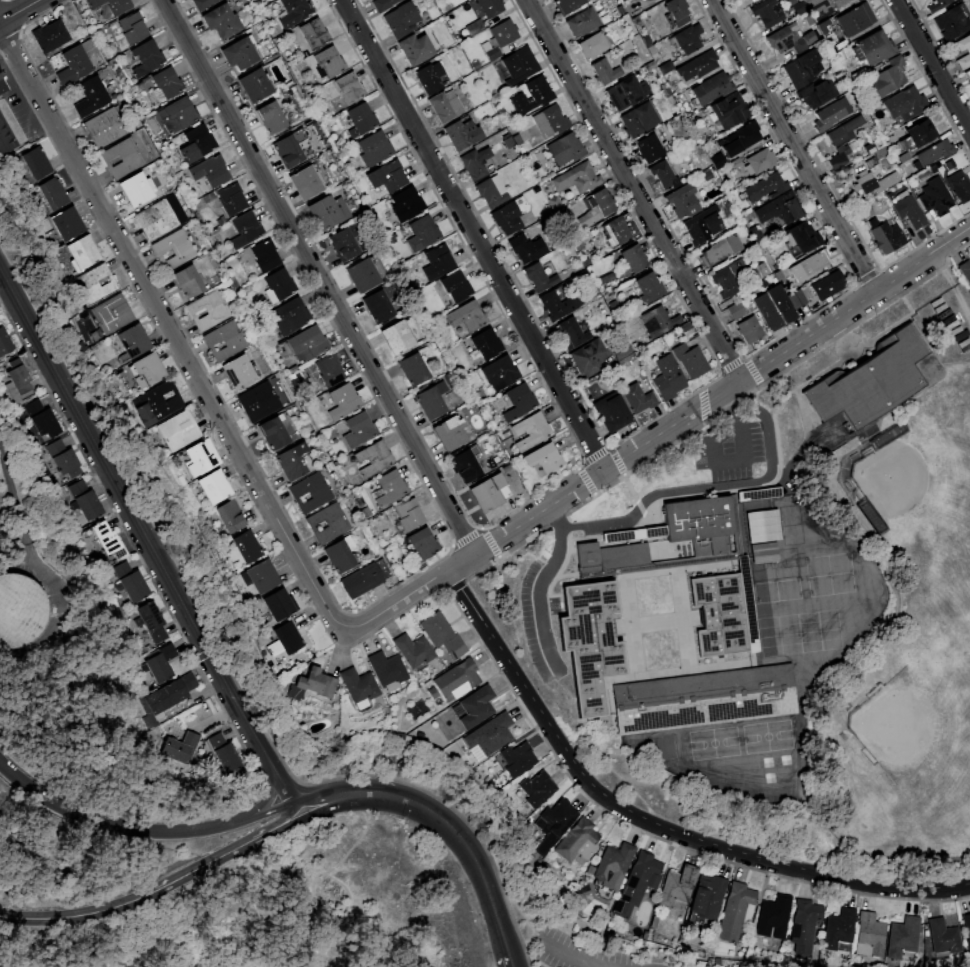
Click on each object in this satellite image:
building: (791, 2)
building: (200, 3)
building: (382, 4)
building: (567, 5)
building: (827, 5)
building: (936, 5)
building: (112, 6)
building: (490, 7)
building: (799, 8)
road: (18, 10)
building: (294, 12)
building: (767, 12)
building: (675, 13)
building: (401, 19)
building: (854, 19)
building: (221, 21)
building: (582, 22)
building: (952, 22)
building: (823, 26)
building: (474, 27)
building: (132, 28)
building: (313, 34)
building: (50, 36)
building: (499, 38)
building: (687, 38)
building: (789, 39)
building: (592, 46)
building: (873, 48)
building: (415, 49)
building: (967, 50)
building: (239, 54)
building: (146, 59)
building: (76, 61)
building: (328, 61)
building: (697, 65)
building: (519, 66)
building: (649, 66)
building: (665, 67)
road: (931, 67)
building: (803, 68)
building: (605, 72)
building: (967, 74)
building: (429, 77)
building: (886, 79)
building: (164, 84)
building: (254, 85)
building: (2, 87)
building: (712, 88)
building: (348, 90)
building: (626, 92)
building: (817, 92)
building: (532, 96)
building: (90, 97)
building: (905, 104)
building: (445, 105)
building: (728, 111)
building: (832, 114)
building: (177, 115)
building: (271, 118)
building: (360, 119)
building: (551, 120)
building: (639, 120)
building: (106, 127)
building: (460, 133)
building: (917, 134)
building: (5, 139)
building: (739, 139)
building: (842, 140)
building: (508, 143)
building: (196, 144)
road: (792, 144)
building: (374, 148)
building: (870, 148)
building: (566, 149)
building: (649, 149)
building: (288, 151)
building: (931, 154)
building: (903, 157)
building: (121, 158)
building: (717, 160)
building: (761, 161)
building: (35, 163)
building: (475, 163)
building: (734, 164)
building: (210, 171)
building: (662, 174)
building: (706, 175)
building: (386, 176)
building: (577, 178)
building: (305, 182)
building: (873, 182)
building: (959, 186)
building: (766, 187)
building: (136, 189)
road: (631, 189)
building: (491, 192)
building: (52, 193)
building: (935, 197)
building: (231, 199)
building: (683, 201)
building: (554, 202)
building: (406, 204)
building: (597, 207)
building: (779, 210)
building: (327, 211)
building: (909, 211)
building: (864, 212)
building: (507, 218)
building: (155, 219)
building: (67, 223)
building: (702, 226)
building: (245, 229)
building: (424, 231)
building: (616, 232)
road: (471, 233)
building: (804, 237)
building: (887, 238)
building: (344, 243)
building: (578, 244)
building: (526, 248)
building: (173, 249)
building: (721, 249)
building: (83, 252)
building: (265, 256)
building: (634, 258)
building: (439, 260)
building: (815, 262)
building: (586, 263)
building: (965, 270)
road: (316, 275)
building: (361, 275)
building: (541, 276)
building: (607, 278)
building: (732, 278)
building: (187, 282)
building: (95, 283)
building: (278, 285)
building: (828, 285)
building: (455, 287)
building: (647, 288)
building: (785, 302)
building: (559, 305)
building: (377, 306)
building: (208, 311)
building: (767, 311)
building: (112, 314)
building: (290, 316)
building: (466, 316)
building: (657, 321)
building: (743, 322)
road: (168, 330)
building: (571, 333)
building: (396, 337)
building: (132, 340)
building: (224, 340)
building: (4, 343)
building: (307, 343)
building: (483, 346)
building: (621, 353)
building: (588, 357)
building: (690, 360)
building: (148, 369)
building: (413, 369)
building: (238, 370)
building: (329, 370)
building: (500, 374)
building: (667, 378)
building: (872, 381)
building: (19, 385)
building: (638, 398)
building: (258, 401)
building: (431, 401)
building: (342, 403)
building: (518, 403)
building: (157, 404)
building: (612, 413)
building: (41, 419)
road: (658, 429)
building: (358, 430)
building: (178, 431)
building: (530, 431)
building: (273, 432)
building: (449, 433)
building: (202, 456)
building: (63, 458)
building: (373, 458)
building: (544, 458)
road: (735, 459)
building: (291, 461)
building: (465, 466)
building: (213, 487)
road: (712, 487)
building: (390, 488)
building: (310, 492)
building: (487, 493)
building: (758, 494)
building: (85, 500)
road: (131, 513)
building: (408, 514)
building: (230, 517)
building: (327, 523)
building: (689, 525)
building: (762, 528)
building: (107, 539)
building: (423, 543)
building: (246, 546)
building: (763, 552)
building: (340, 554)
building: (609, 556)
building: (260, 577)
building: (360, 580)
building: (130, 583)
road: (538, 583)
building: (278, 604)
water tower: (1, 609)
building: (18, 609)
building: (725, 612)
building: (150, 621)
building: (442, 635)
building: (285, 639)
building: (589, 642)
building: (413, 649)
building: (160, 663)
building: (387, 670)
building: (456, 680)
building: (311, 684)
building: (358, 687)
building: (170, 693)
building: (703, 699)
building: (474, 706)
building: (494, 732)
building: (180, 747)
building: (223, 752)
building: (517, 758)
road: (280, 780)
road: (270, 788)
building: (535, 789)
road: (271, 809)
road: (441, 820)
road: (648, 823)
building: (554, 824)
road: (115, 825)
building: (578, 842)
road: (226, 852)
building: (613, 865)
building: (637, 884)
building: (677, 887)
building: (708, 897)
building: (736, 913)
road: (77, 915)
building: (774, 917)
building: (967, 924)
building: (804, 925)
building: (837, 929)
building: (868, 935)
building: (942, 938)
building: (902, 939)
road: (569, 957)
road: (510, 961)

